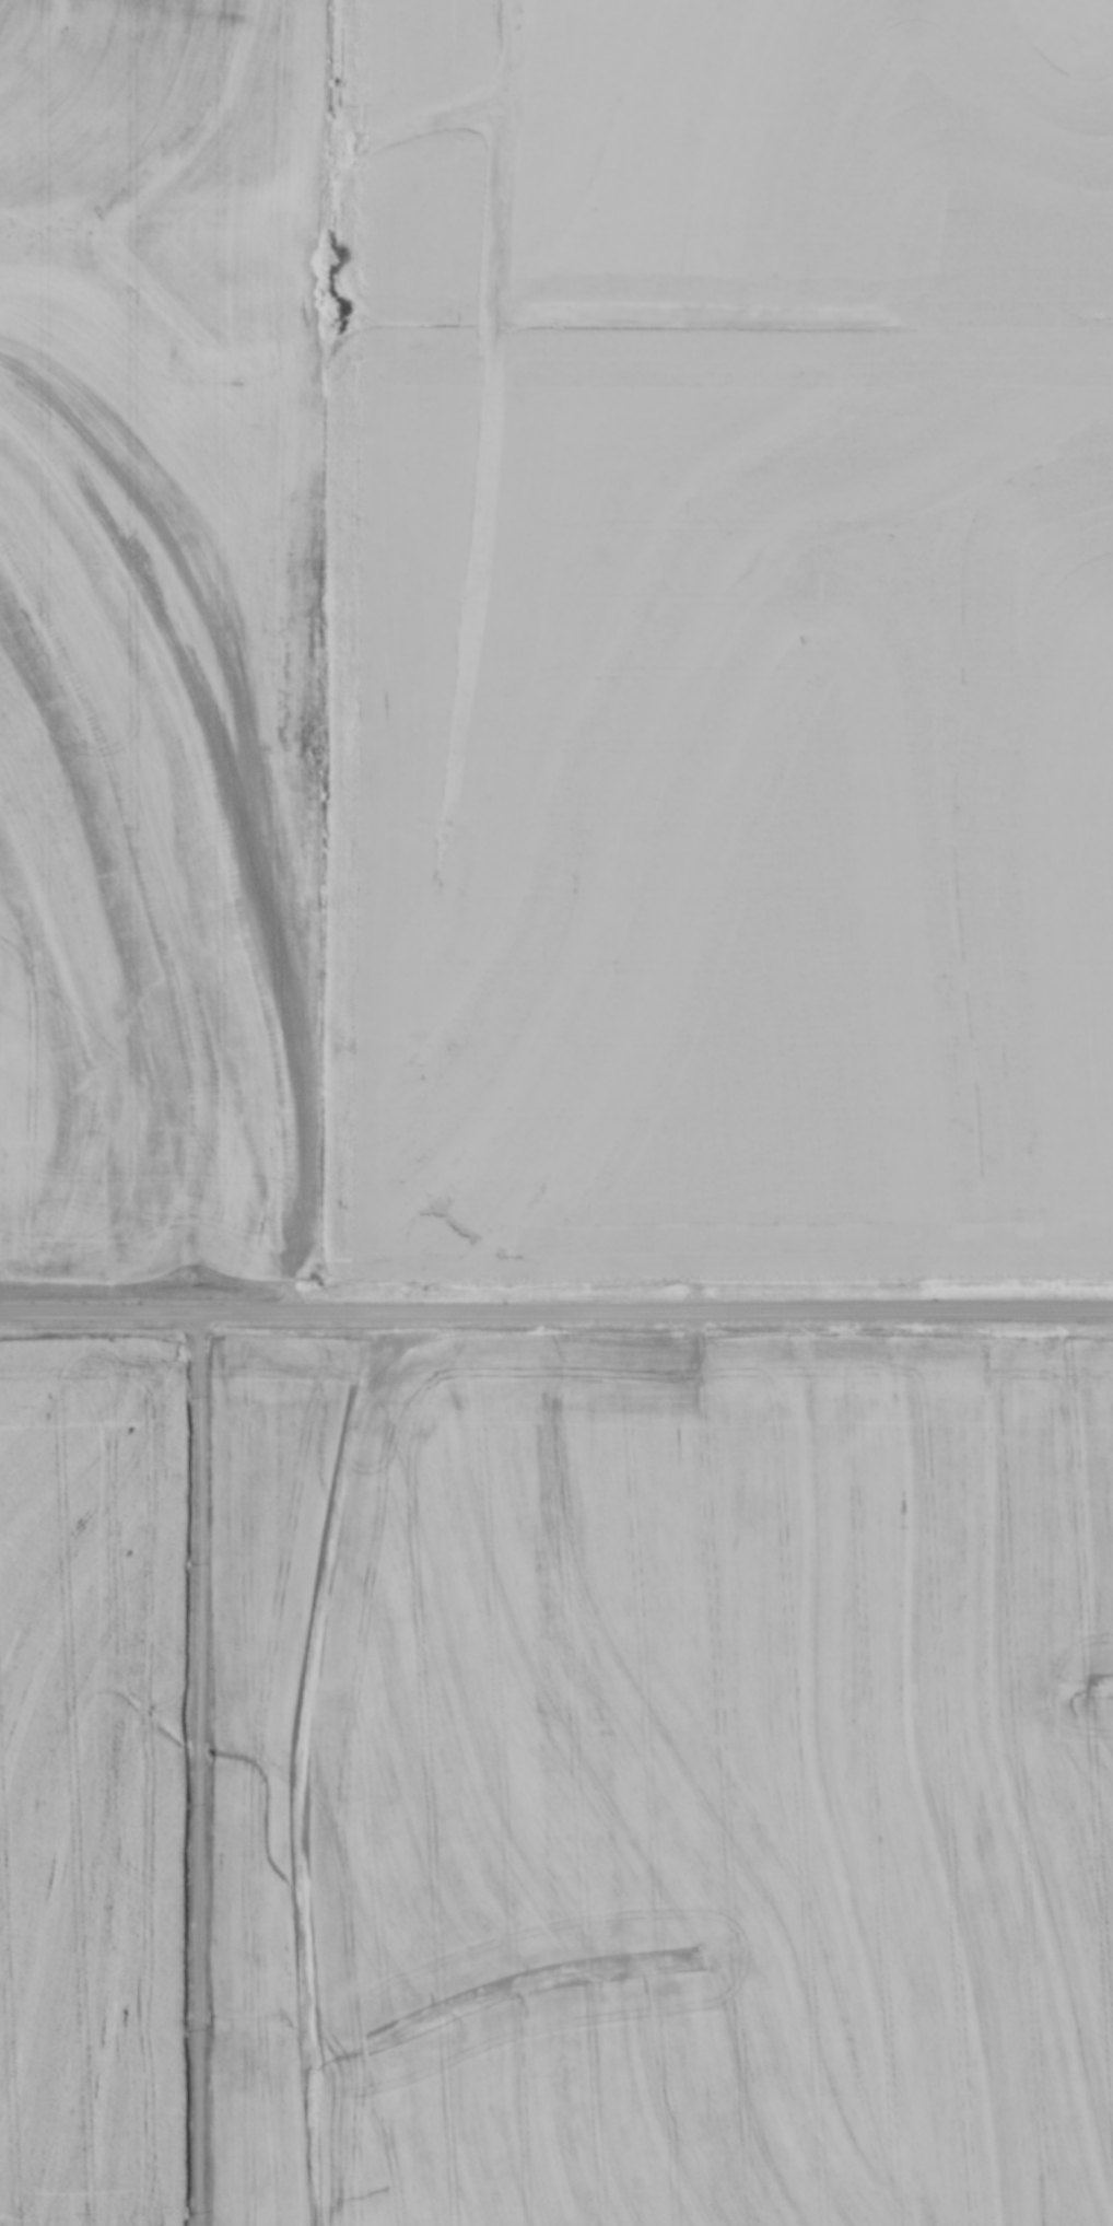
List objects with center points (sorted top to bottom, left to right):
road: (555, 1315)
road: (202, 1771)

